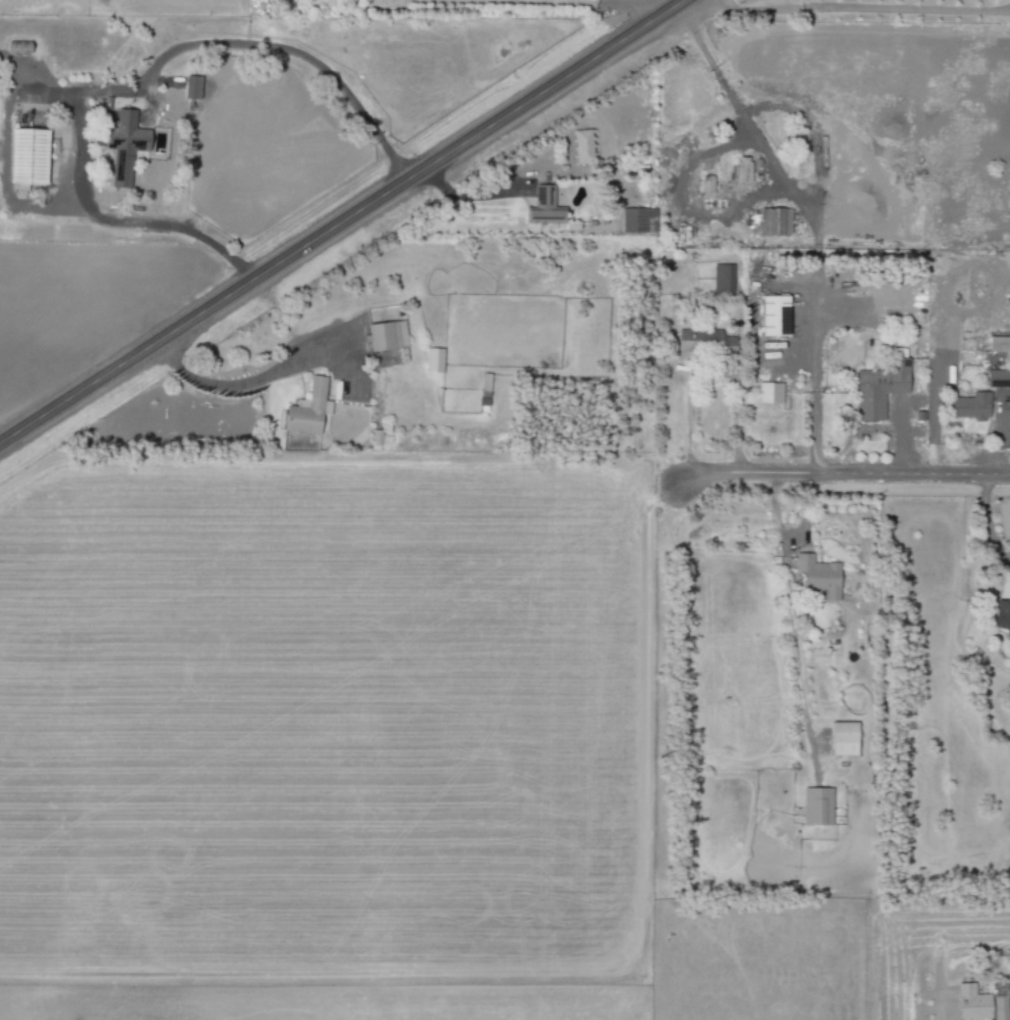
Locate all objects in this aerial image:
road: (598, 2)
road: (859, 7)
road: (284, 48)
building: (191, 87)
road: (99, 89)
building: (581, 145)
building: (123, 146)
road: (4, 157)
building: (26, 157)
building: (740, 170)
building: (706, 184)
road: (773, 186)
road: (470, 194)
building: (542, 206)
building: (632, 220)
building: (772, 221)
road: (130, 222)
road: (342, 222)
building: (722, 278)
building: (772, 315)
building: (386, 335)
building: (698, 340)
building: (998, 344)
building: (432, 359)
building: (997, 378)
road: (240, 381)
road: (812, 388)
building: (877, 388)
building: (769, 392)
road: (737, 398)
building: (969, 406)
building: (305, 410)
road: (686, 419)
road: (841, 471)
road: (986, 520)
road: (791, 532)
building: (817, 576)
building: (1001, 617)
road: (793, 655)
crop: (326, 719)
building: (841, 738)
building: (816, 806)
building: (970, 1003)
building: (999, 1008)

